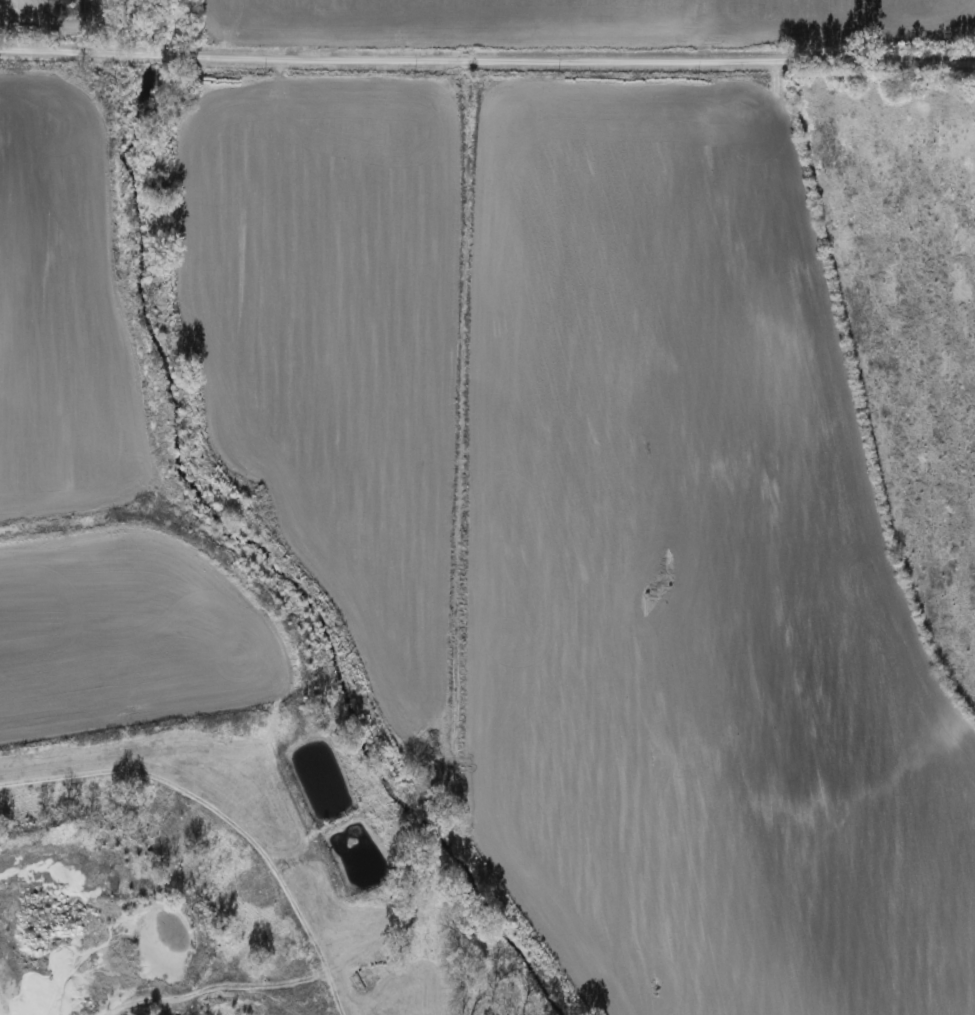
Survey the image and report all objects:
road: (487, 57)

